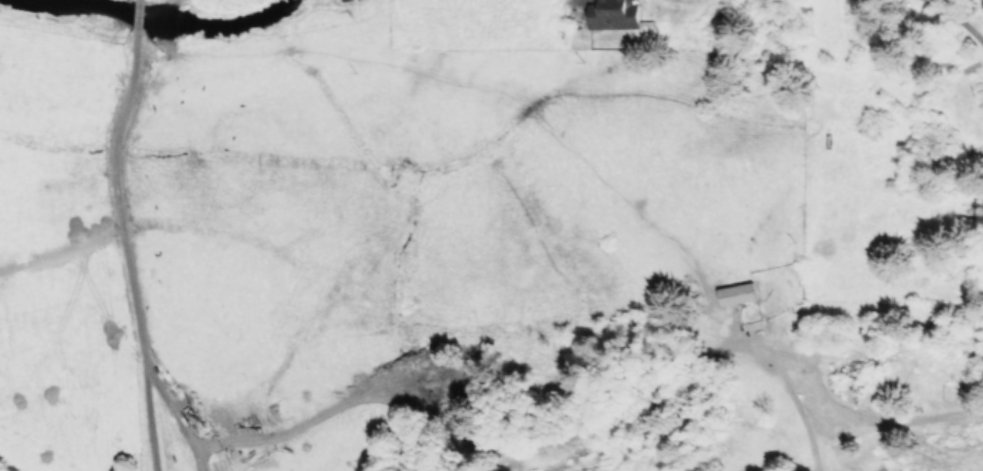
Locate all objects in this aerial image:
road: (569, 2)
building: (611, 14)
road: (956, 18)
road: (138, 21)
crop: (370, 197)
road: (117, 201)
building: (734, 293)
road: (176, 414)
road: (147, 416)
road: (599, 425)

